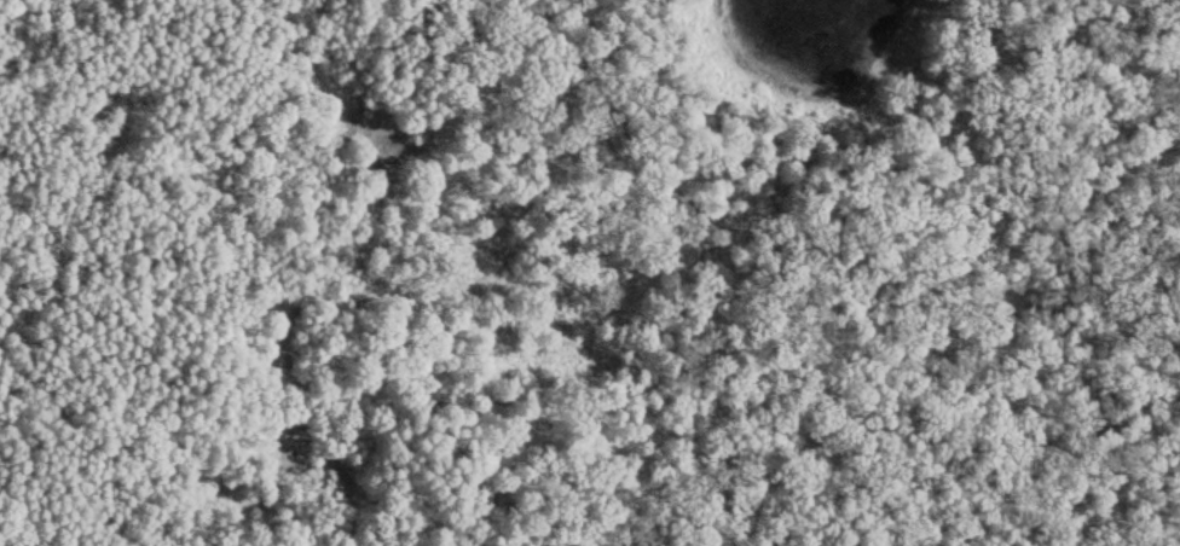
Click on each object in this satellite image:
road: (851, 231)

